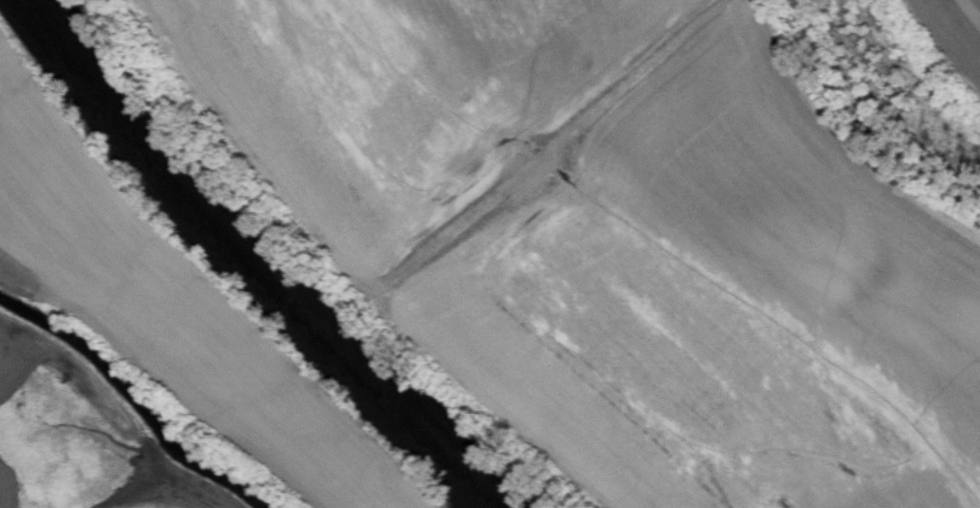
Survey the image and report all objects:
road: (827, 144)

